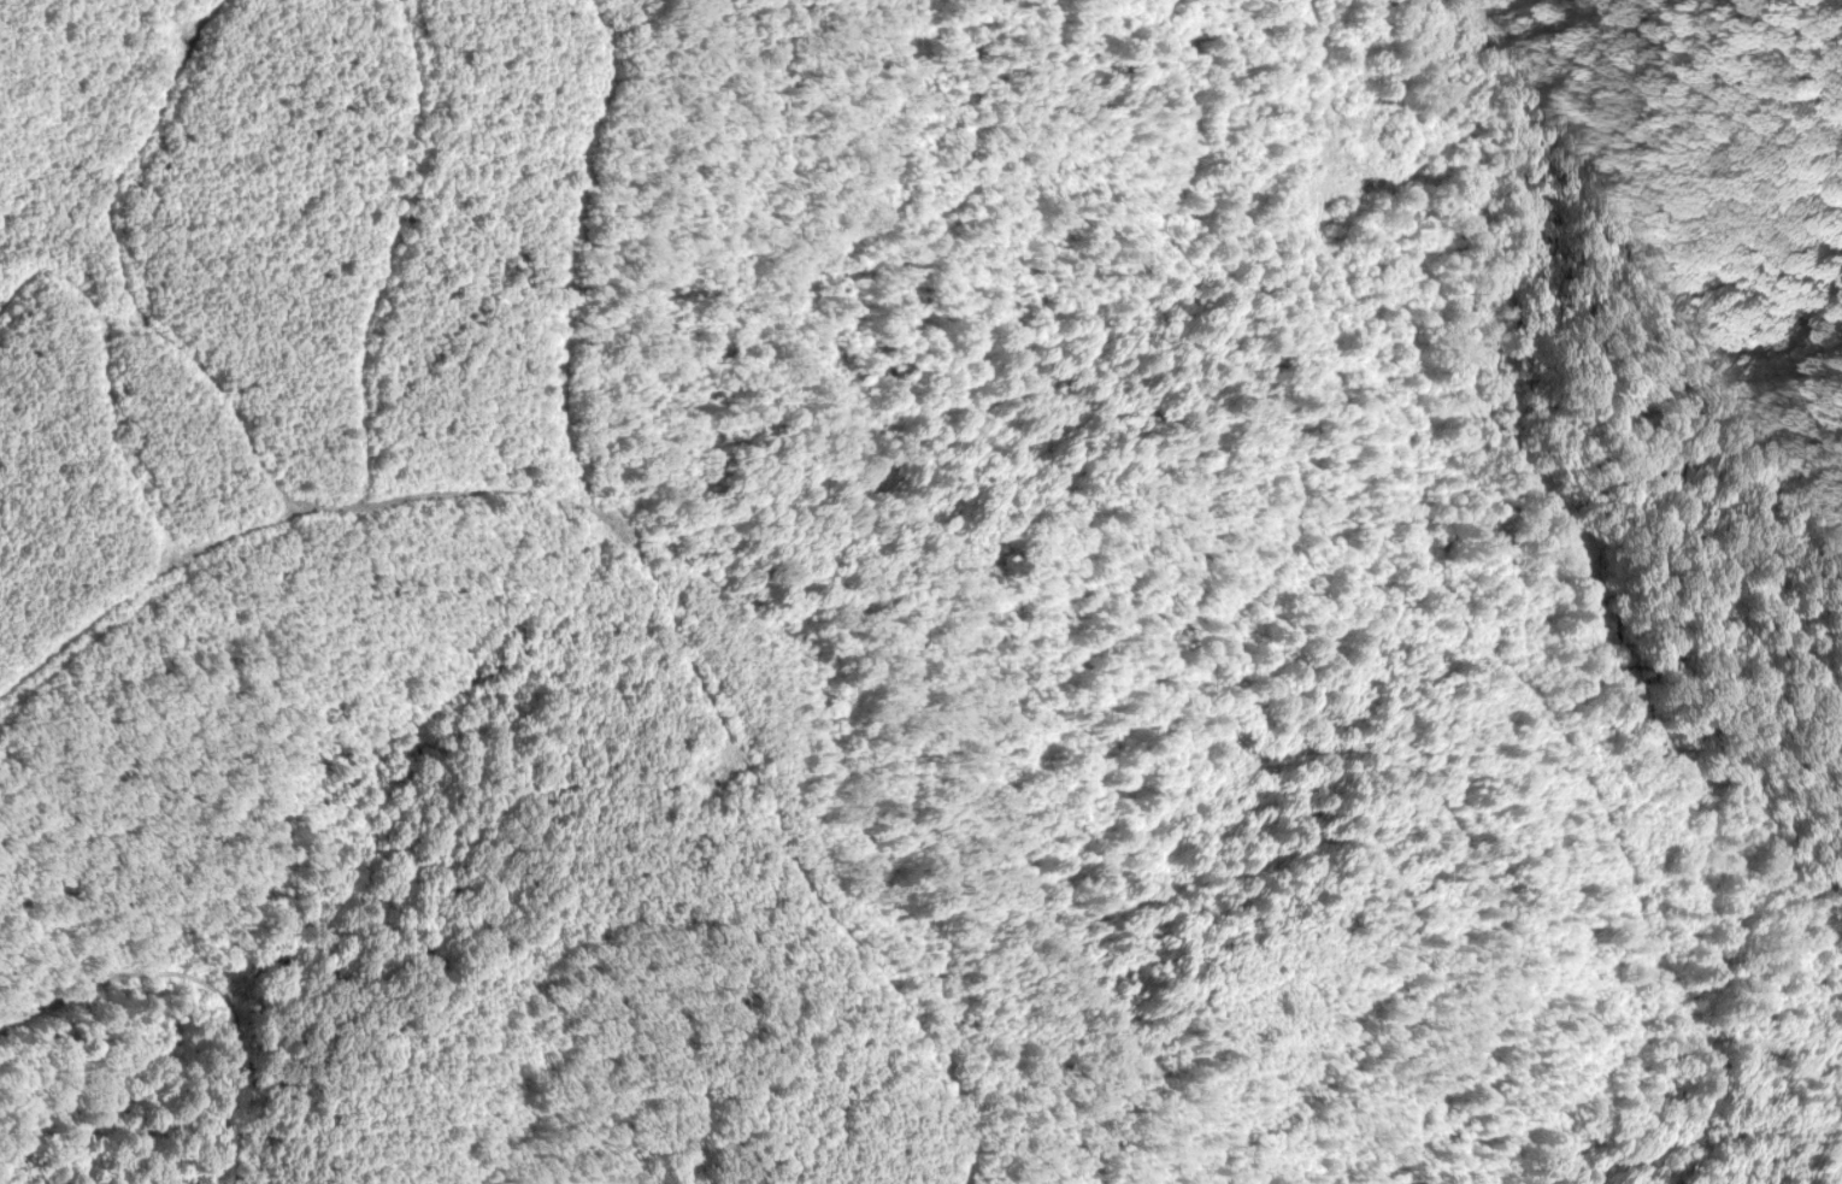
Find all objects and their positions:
road: (200, 986)

